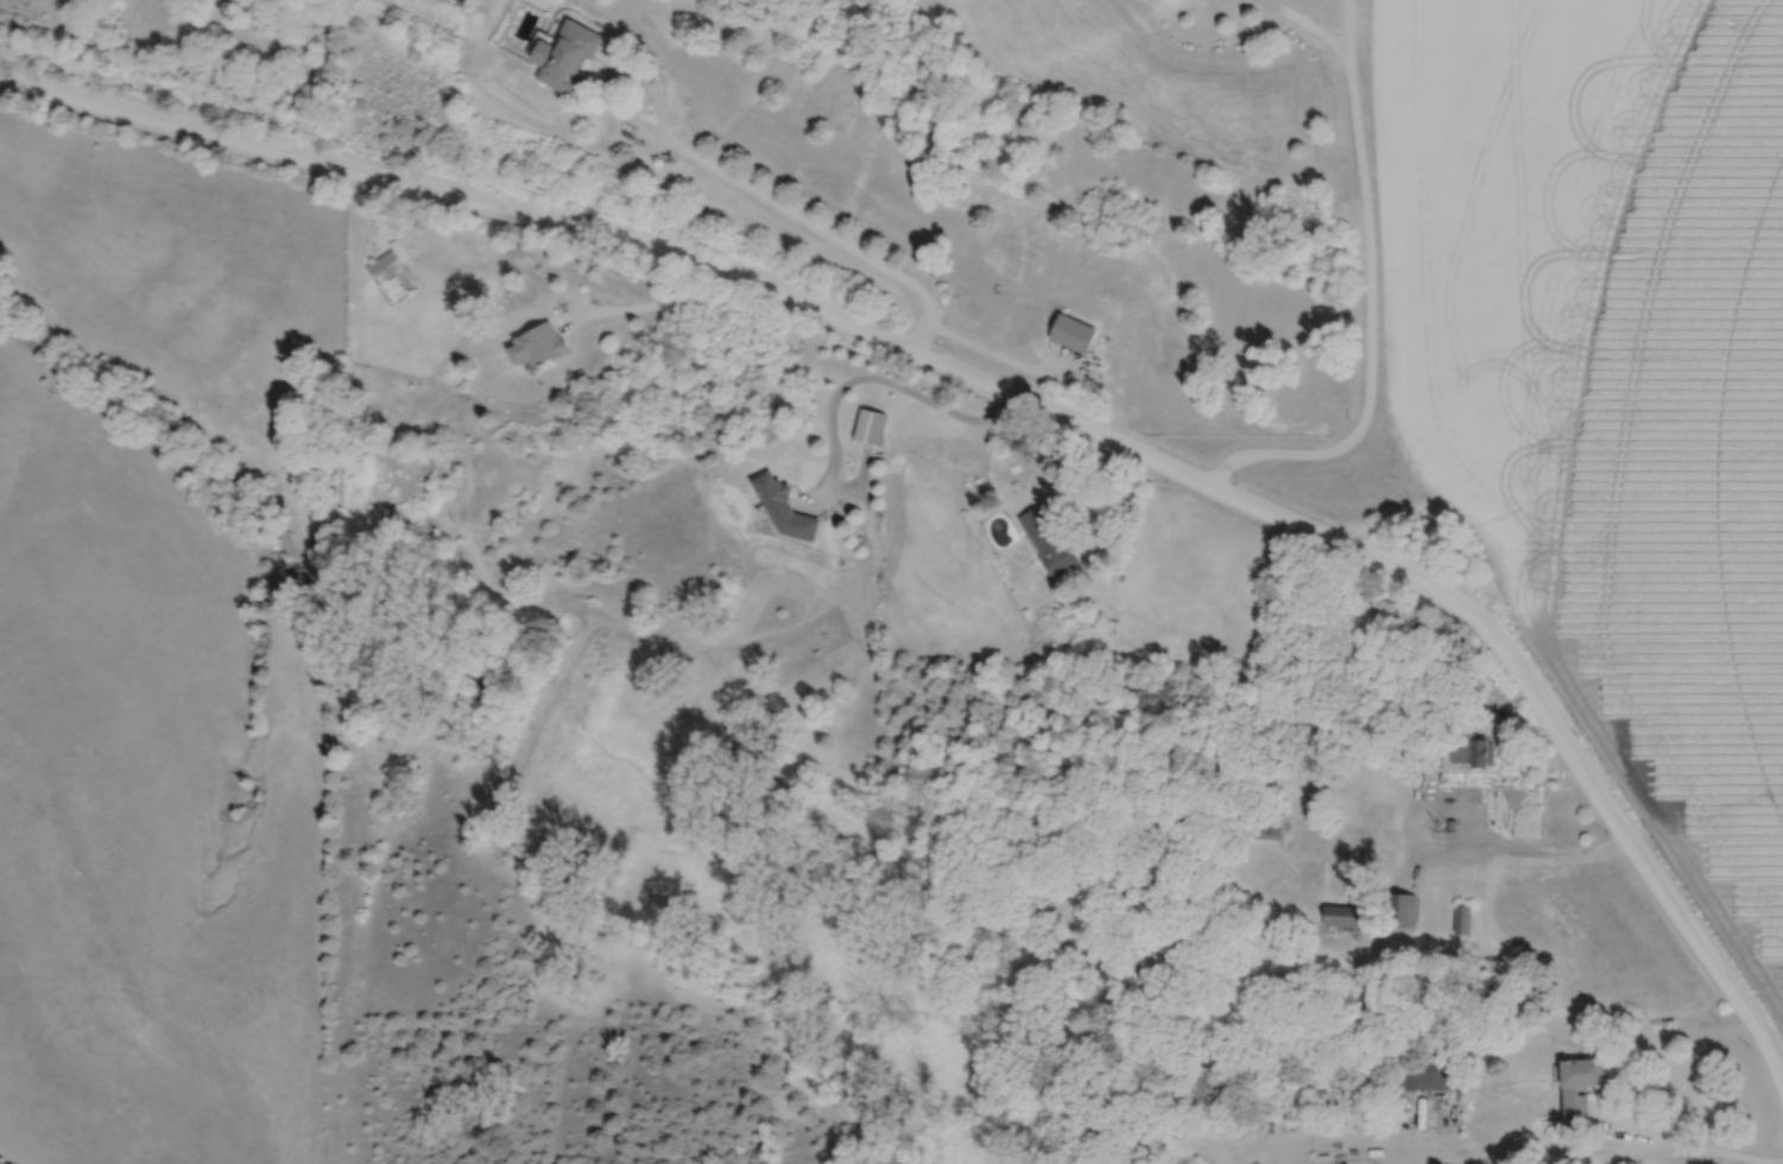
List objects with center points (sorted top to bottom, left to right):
road: (1310, 24)
road: (1347, 27)
building: (571, 57)
road: (827, 229)
building: (391, 257)
road: (1370, 325)
building: (1079, 333)
building: (542, 346)
road: (875, 381)
road: (1016, 397)
building: (874, 425)
building: (788, 508)
building: (1051, 539)
dam: (544, 707)
building: (1475, 749)
building: (1265, 827)
road: (1477, 839)
building: (1408, 910)
building: (1347, 915)
building: (1465, 919)
building: (1429, 1075)
building: (1585, 1086)
road: (1690, 1139)

